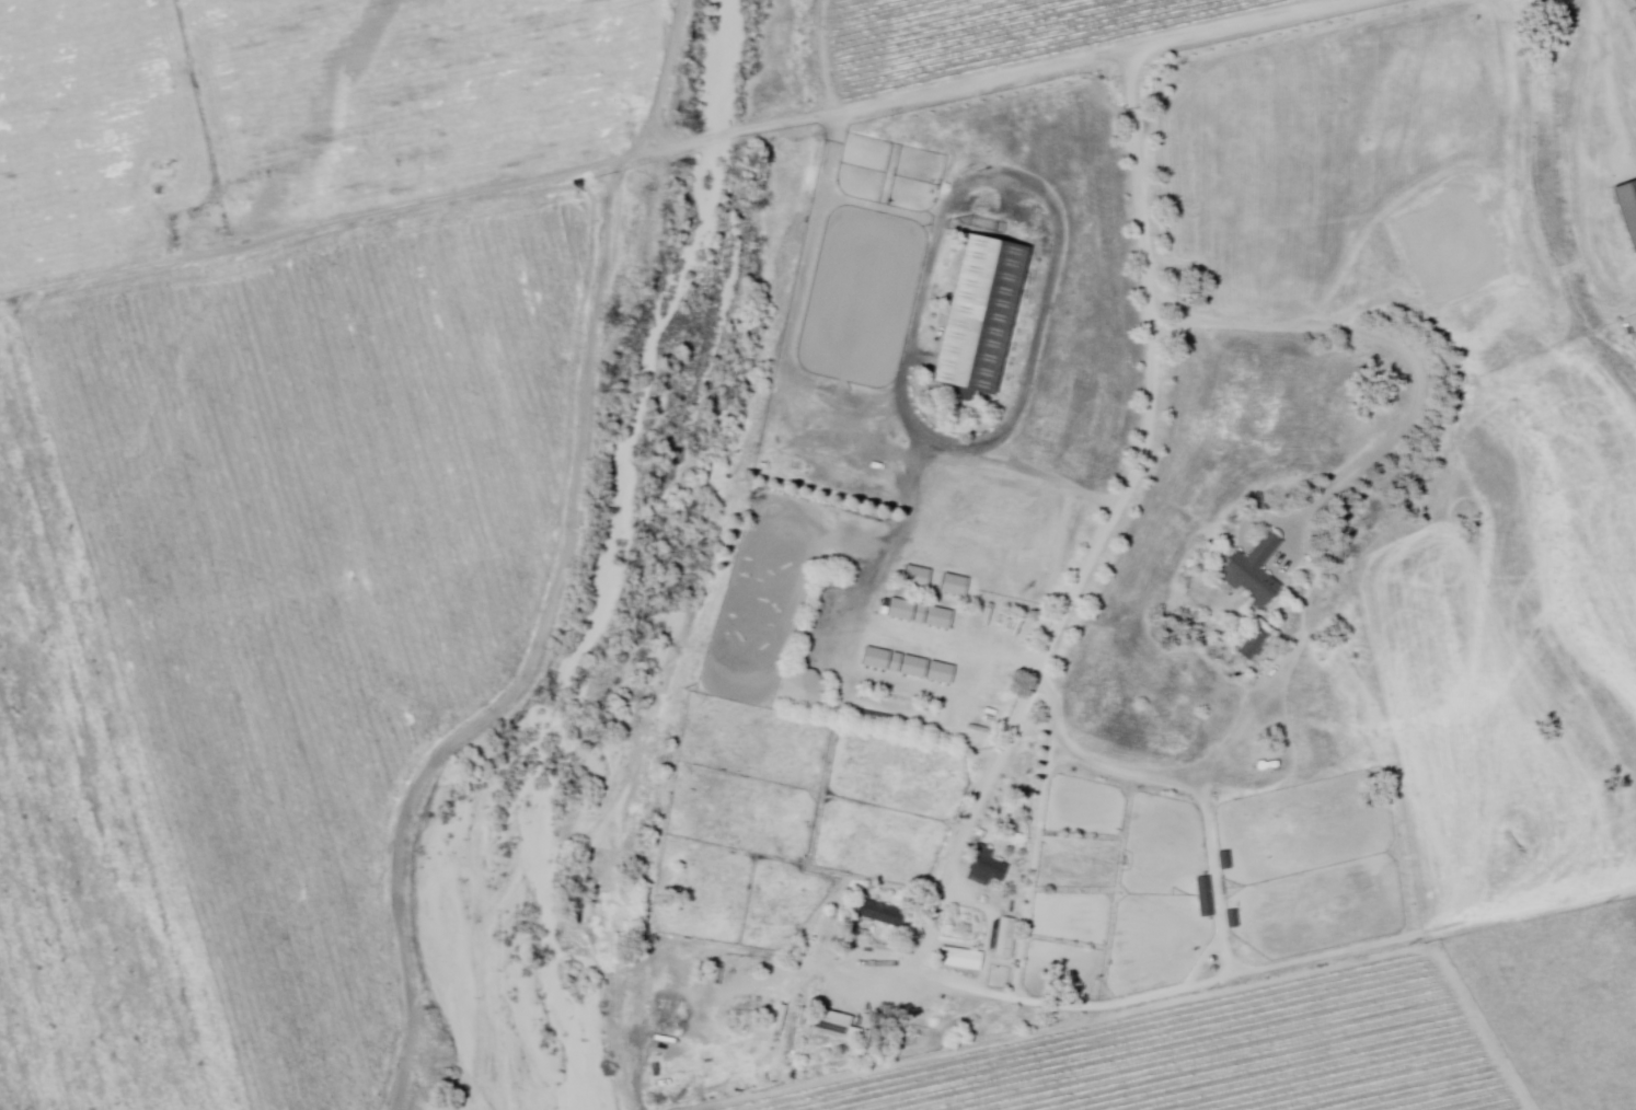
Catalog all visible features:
road: (1241, 22)
road: (821, 116)
building: (1627, 210)
building: (979, 314)
road: (1394, 339)
building: (857, 449)
building: (850, 476)
road: (1114, 525)
building: (1253, 574)
crop: (267, 634)
building: (1254, 646)
building: (982, 671)
building: (800, 691)
building: (964, 712)
building: (889, 725)
building: (1223, 862)
building: (987, 868)
building: (1203, 898)
building: (878, 913)
building: (1005, 938)
building: (959, 960)
building: (682, 969)
building: (810, 994)
building: (833, 1025)

